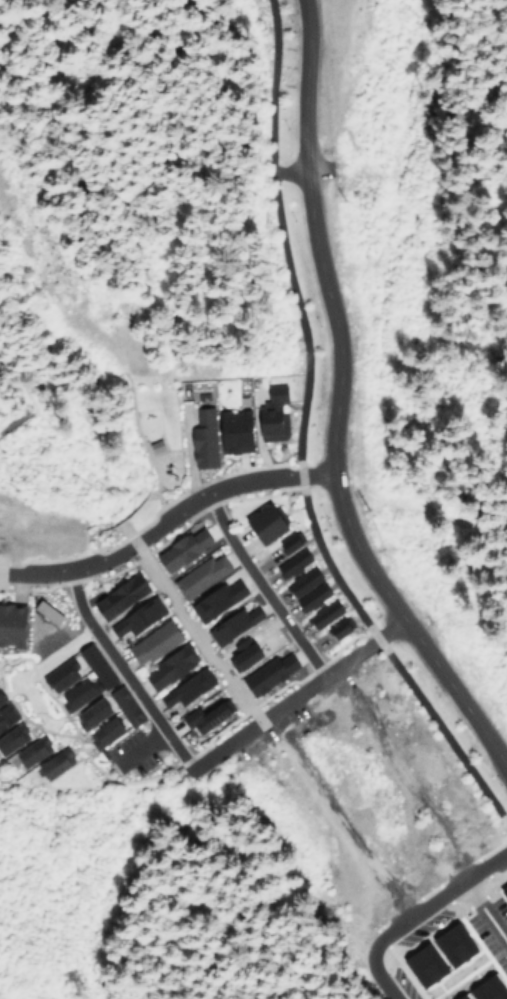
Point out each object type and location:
road: (350, 91)
road: (288, 171)
power tower: (343, 199)
road: (63, 381)
road: (332, 411)
building: (268, 415)
road: (15, 420)
building: (213, 436)
road: (298, 440)
road: (142, 446)
road: (419, 506)
power tower: (369, 508)
road: (163, 518)
building: (261, 524)
building: (286, 542)
building: (177, 550)
building: (289, 564)
building: (197, 576)
building: (299, 582)
road: (258, 586)
building: (115, 596)
building: (308, 598)
building: (213, 599)
building: (42, 612)
building: (320, 615)
building: (133, 617)
road: (189, 621)
building: (230, 624)
building: (9, 625)
building: (336, 628)
building: (149, 643)
road: (62, 648)
building: (236, 654)
building: (92, 666)
building: (167, 666)
road: (121, 672)
building: (264, 674)
building: (57, 676)
road: (42, 686)
building: (182, 688)
building: (75, 693)
road: (291, 696)
building: (1, 701)
building: (121, 706)
building: (87, 714)
building: (6, 715)
building: (203, 716)
road: (24, 719)
road: (221, 728)
building: (100, 733)
building: (10, 737)
road: (138, 745)
building: (28, 751)
building: (50, 764)
building: (502, 894)
road: (412, 914)
road: (483, 915)
building: (433, 955)
building: (480, 990)

